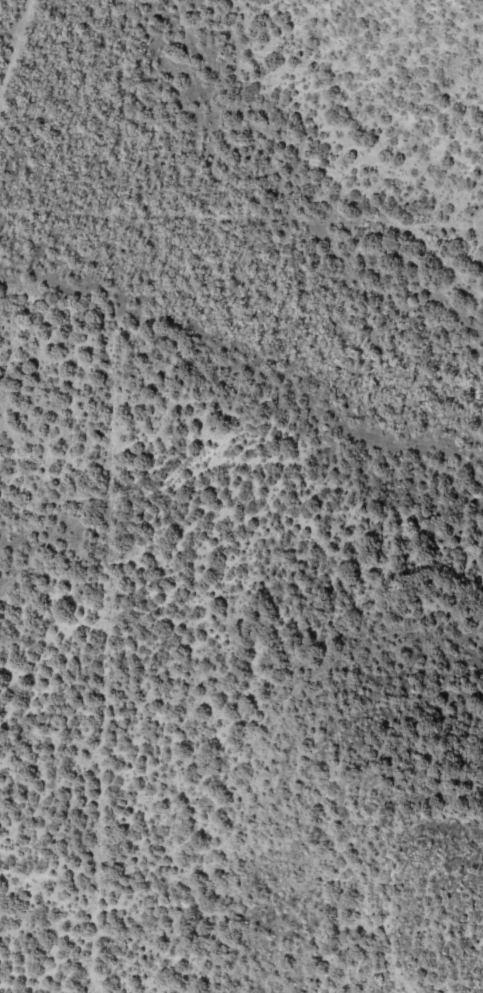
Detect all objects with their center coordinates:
road: (9, 40)

